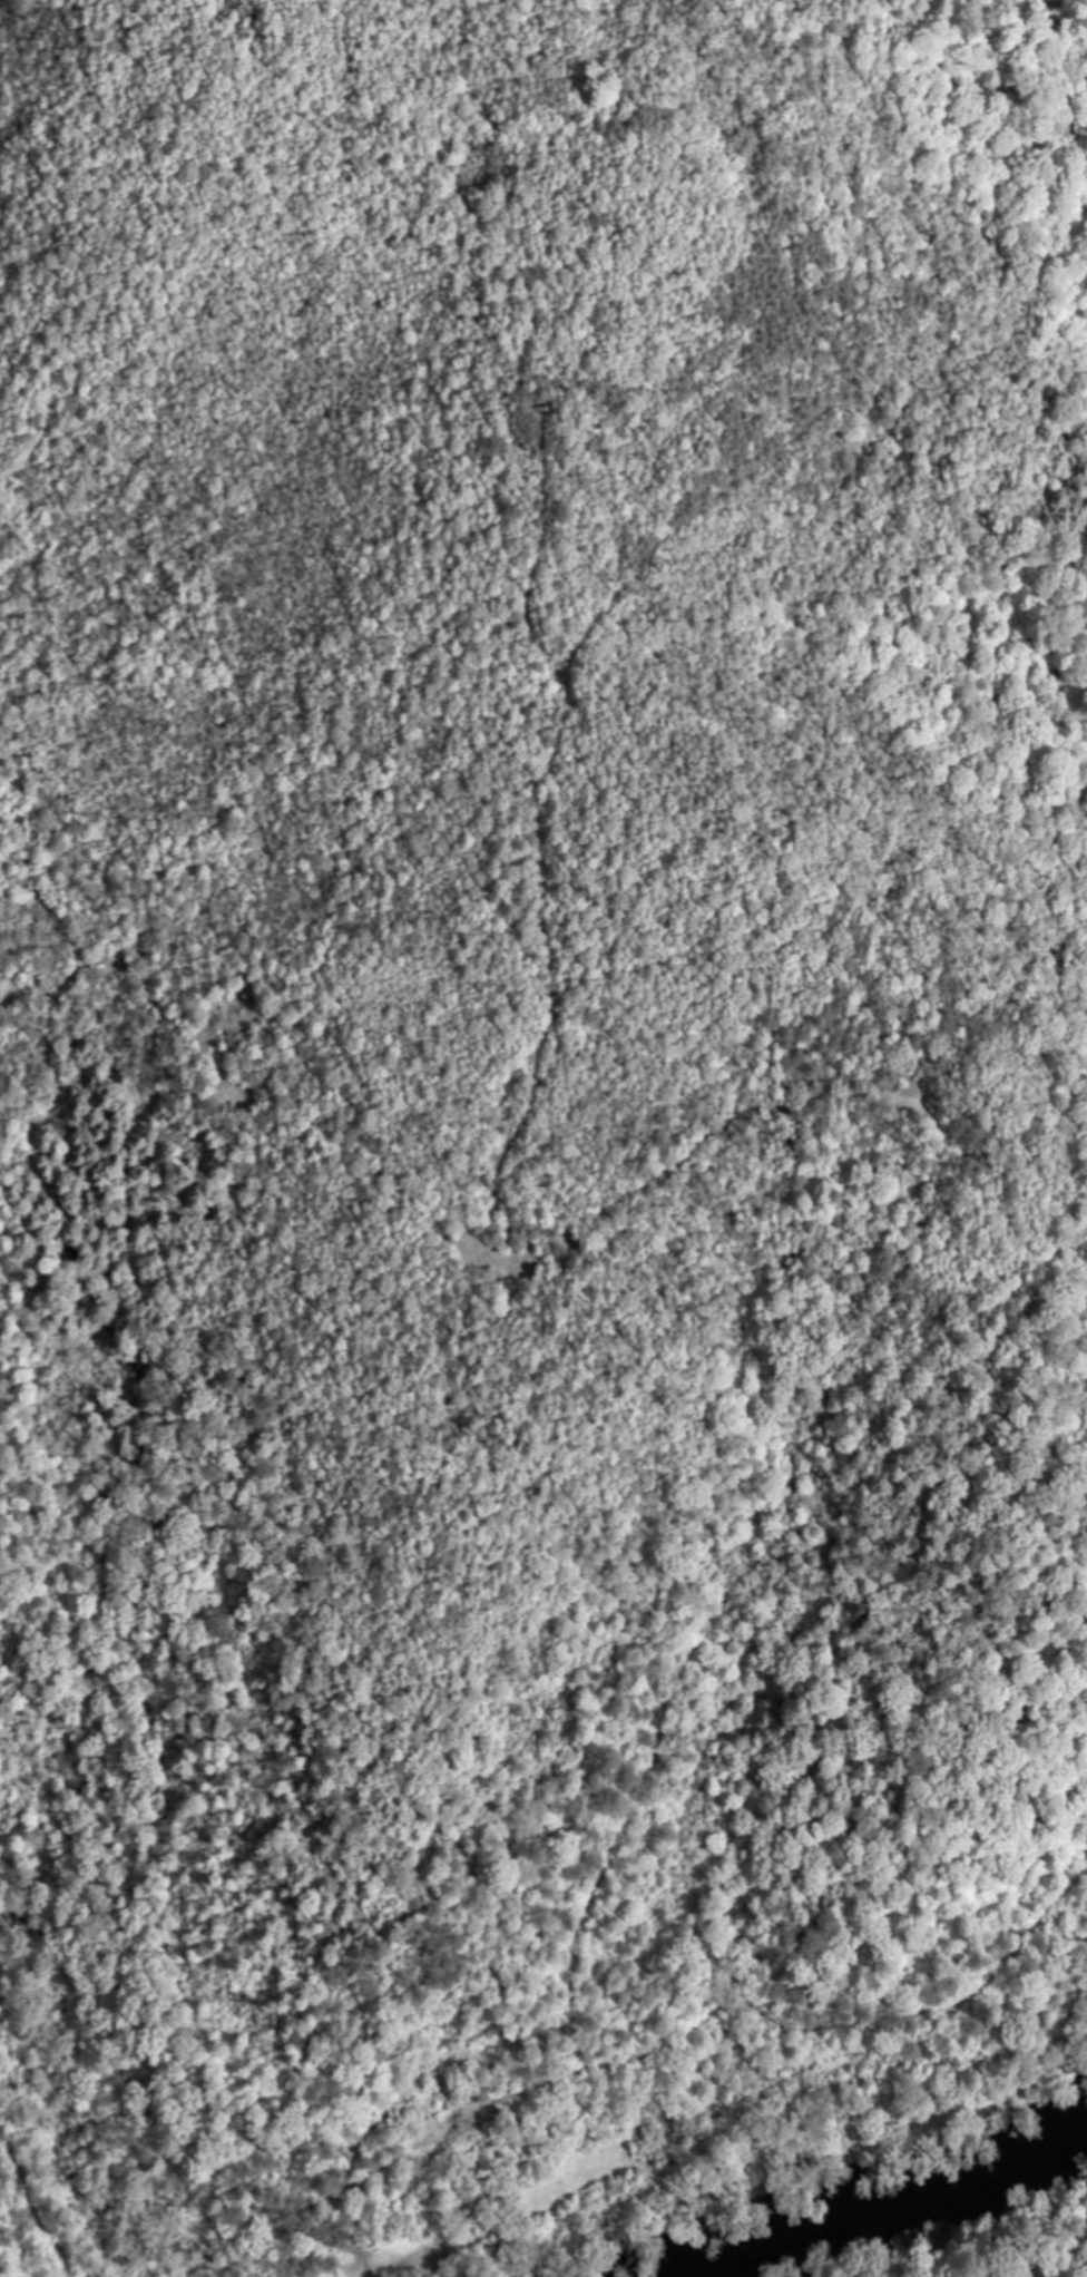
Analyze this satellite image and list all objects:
river: (890, 2203)

